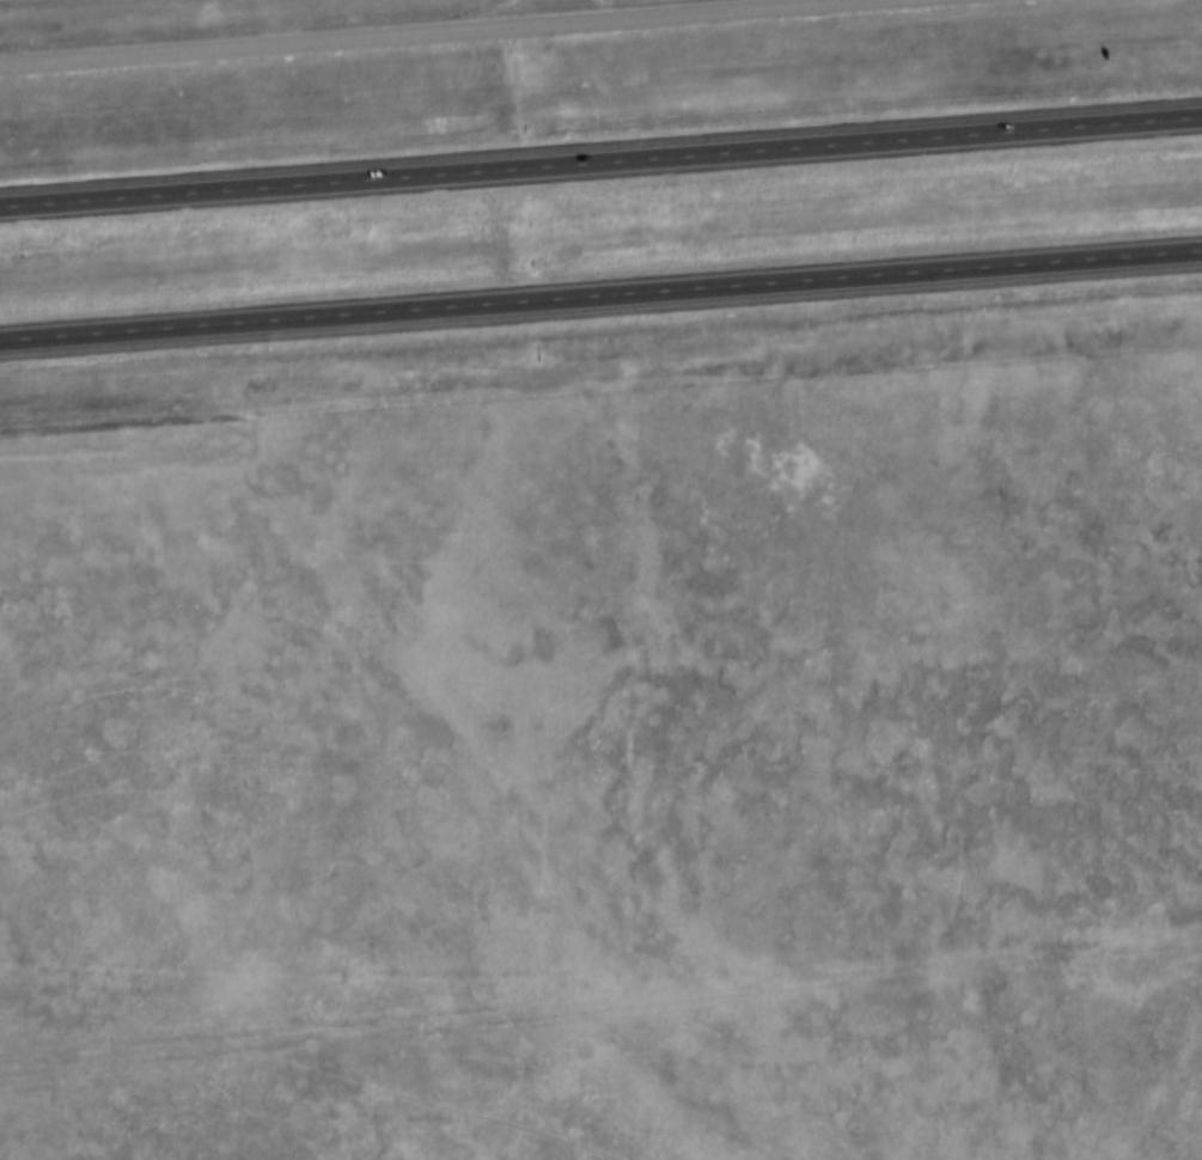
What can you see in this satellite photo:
road: (457, 33)
road: (600, 165)
road: (600, 303)

